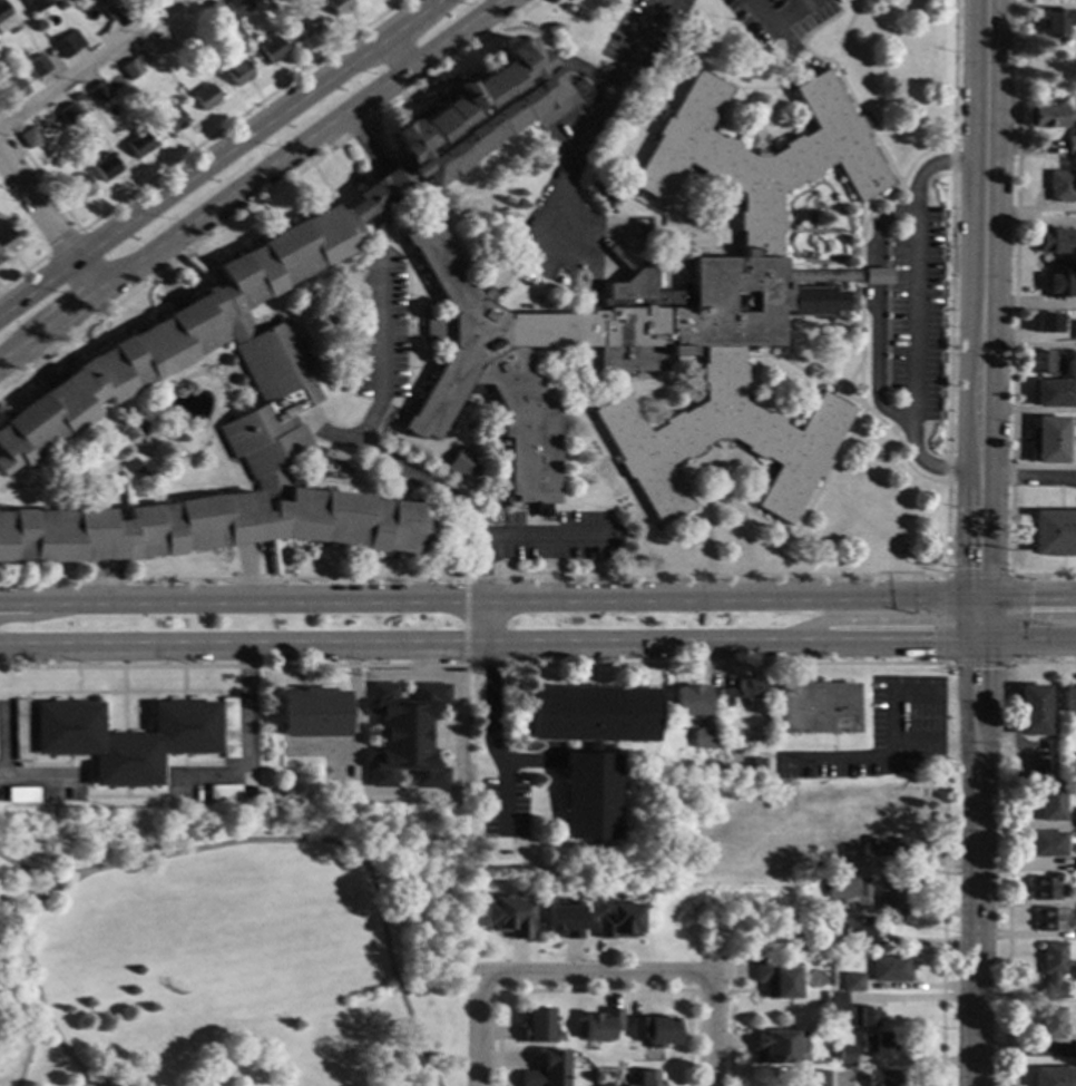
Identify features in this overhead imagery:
building: (36, 4)
building: (335, 4)
building: (237, 7)
building: (111, 10)
building: (214, 11)
parking lot: (776, 17)
building: (4, 18)
road: (803, 18)
building: (1054, 23)
building: (303, 26)
road: (773, 27)
road: (791, 28)
building: (102, 31)
road: (534, 31)
parking lot: (642, 32)
building: (178, 36)
building: (67, 43)
building: (268, 48)
road: (791, 49)
road: (398, 51)
road: (87, 62)
road: (818, 63)
building: (134, 65)
building: (37, 66)
road: (580, 67)
building: (237, 72)
road: (439, 82)
road: (776, 86)
road: (842, 86)
building: (14, 89)
building: (98, 92)
building: (75, 96)
building: (204, 97)
road: (667, 97)
building: (69, 114)
building: (1047, 116)
building: (169, 120)
road: (570, 128)
road: (759, 131)
building: (29, 137)
road: (759, 138)
road: (581, 139)
road: (365, 141)
building: (1070, 143)
building: (137, 144)
road: (184, 155)
road: (219, 157)
road: (935, 162)
building: (106, 167)
road: (250, 179)
road: (324, 186)
building: (1058, 186)
building: (77, 187)
road: (384, 187)
road: (268, 192)
road: (906, 194)
road: (788, 198)
road: (852, 213)
road: (860, 215)
road: (48, 222)
road: (701, 223)
road: (796, 223)
road: (795, 228)
road: (810, 228)
road: (832, 229)
road: (982, 236)
building: (6, 239)
building: (1055, 241)
parking lot: (580, 242)
road: (63, 243)
road: (859, 248)
road: (522, 254)
road: (196, 268)
road: (355, 270)
road: (23, 272)
road: (189, 275)
road: (847, 275)
building: (819, 276)
building: (874, 276)
road: (165, 277)
building: (1058, 280)
road: (69, 286)
road: (950, 287)
building: (815, 299)
building: (726, 301)
road: (877, 311)
road: (911, 311)
parking lot: (917, 311)
road: (1014, 320)
road: (845, 321)
building: (1046, 323)
building: (1074, 329)
parking lot: (381, 330)
road: (786, 335)
road: (781, 355)
road: (61, 358)
road: (213, 359)
road: (37, 363)
building: (1043, 363)
building: (495, 365)
road: (237, 366)
building: (257, 366)
road: (228, 370)
road: (850, 375)
road: (408, 378)
road: (633, 382)
road: (235, 388)
road: (478, 391)
building: (1054, 394)
road: (854, 399)
road: (160, 408)
fountain: (197, 418)
road: (400, 419)
building: (173, 427)
road: (326, 431)
road: (169, 439)
road: (203, 440)
building: (1049, 440)
road: (173, 450)
road: (475, 451)
road: (480, 453)
building: (128, 463)
building: (462, 463)
road: (722, 464)
road: (929, 466)
road: (616, 468)
road: (1027, 474)
road: (16, 476)
road: (500, 476)
road: (10, 479)
road: (69, 479)
road: (397, 483)
road: (118, 491)
road: (450, 497)
road: (716, 500)
road: (810, 500)
road: (537, 521)
road: (624, 524)
road: (453, 532)
parking lot: (558, 532)
building: (1054, 532)
road: (544, 535)
road: (270, 540)
road: (978, 548)
road: (272, 556)
road: (286, 561)
road: (116, 569)
road: (247, 575)
road: (979, 575)
road: (473, 577)
road: (92, 584)
traffic signals: (978, 603)
road: (538, 605)
road: (939, 618)
road: (1021, 618)
road: (463, 620)
road: (538, 645)
traffic signals: (977, 645)
road: (425, 659)
building: (926, 659)
building: (446, 662)
road: (684, 664)
road: (978, 664)
road: (76, 679)
road: (182, 679)
building: (741, 691)
road: (903, 692)
road: (121, 693)
building: (1066, 699)
road: (124, 701)
building: (689, 702)
building: (814, 708)
building: (1031, 711)
building: (314, 714)
road: (354, 724)
building: (228, 728)
building: (20, 730)
road: (453, 734)
parking lot: (880, 734)
building: (405, 735)
building: (126, 740)
road: (245, 740)
building: (704, 740)
road: (2, 741)
building: (590, 747)
road: (624, 752)
road: (877, 755)
road: (532, 764)
building: (754, 764)
road: (39, 775)
building: (223, 792)
building: (21, 795)
building: (1050, 804)
road: (627, 816)
building: (1075, 818)
road: (1008, 841)
building: (1046, 845)
road: (207, 847)
building: (883, 847)
road: (975, 854)
building: (821, 862)
building: (1075, 865)
road: (38, 871)
building: (838, 887)
building: (862, 888)
building: (1043, 889)
building: (891, 893)
road: (10, 910)
building: (508, 918)
building: (564, 919)
building: (619, 919)
building: (1048, 920)
building: (852, 930)
building: (755, 935)
building: (821, 945)
park: (235, 946)
building: (1053, 968)
building: (890, 969)
road: (591, 974)
building: (776, 979)
building: (853, 982)
road: (593, 990)
road: (708, 990)
building: (835, 1005)
building: (862, 1017)
road: (710, 1021)
building: (601, 1024)
building: (1050, 1024)
building: (535, 1027)
building: (654, 1030)
road: (478, 1035)
road: (730, 1038)
building: (851, 1043)
building: (878, 1045)
road: (28, 1047)
building: (775, 1047)
building: (1074, 1050)
building: (844, 1054)
building: (546, 1070)
building: (815, 1077)
building: (1054, 1077)
building: (647, 1078)
building: (881, 1078)
road: (84, 1082)
building: (610, 1085)

